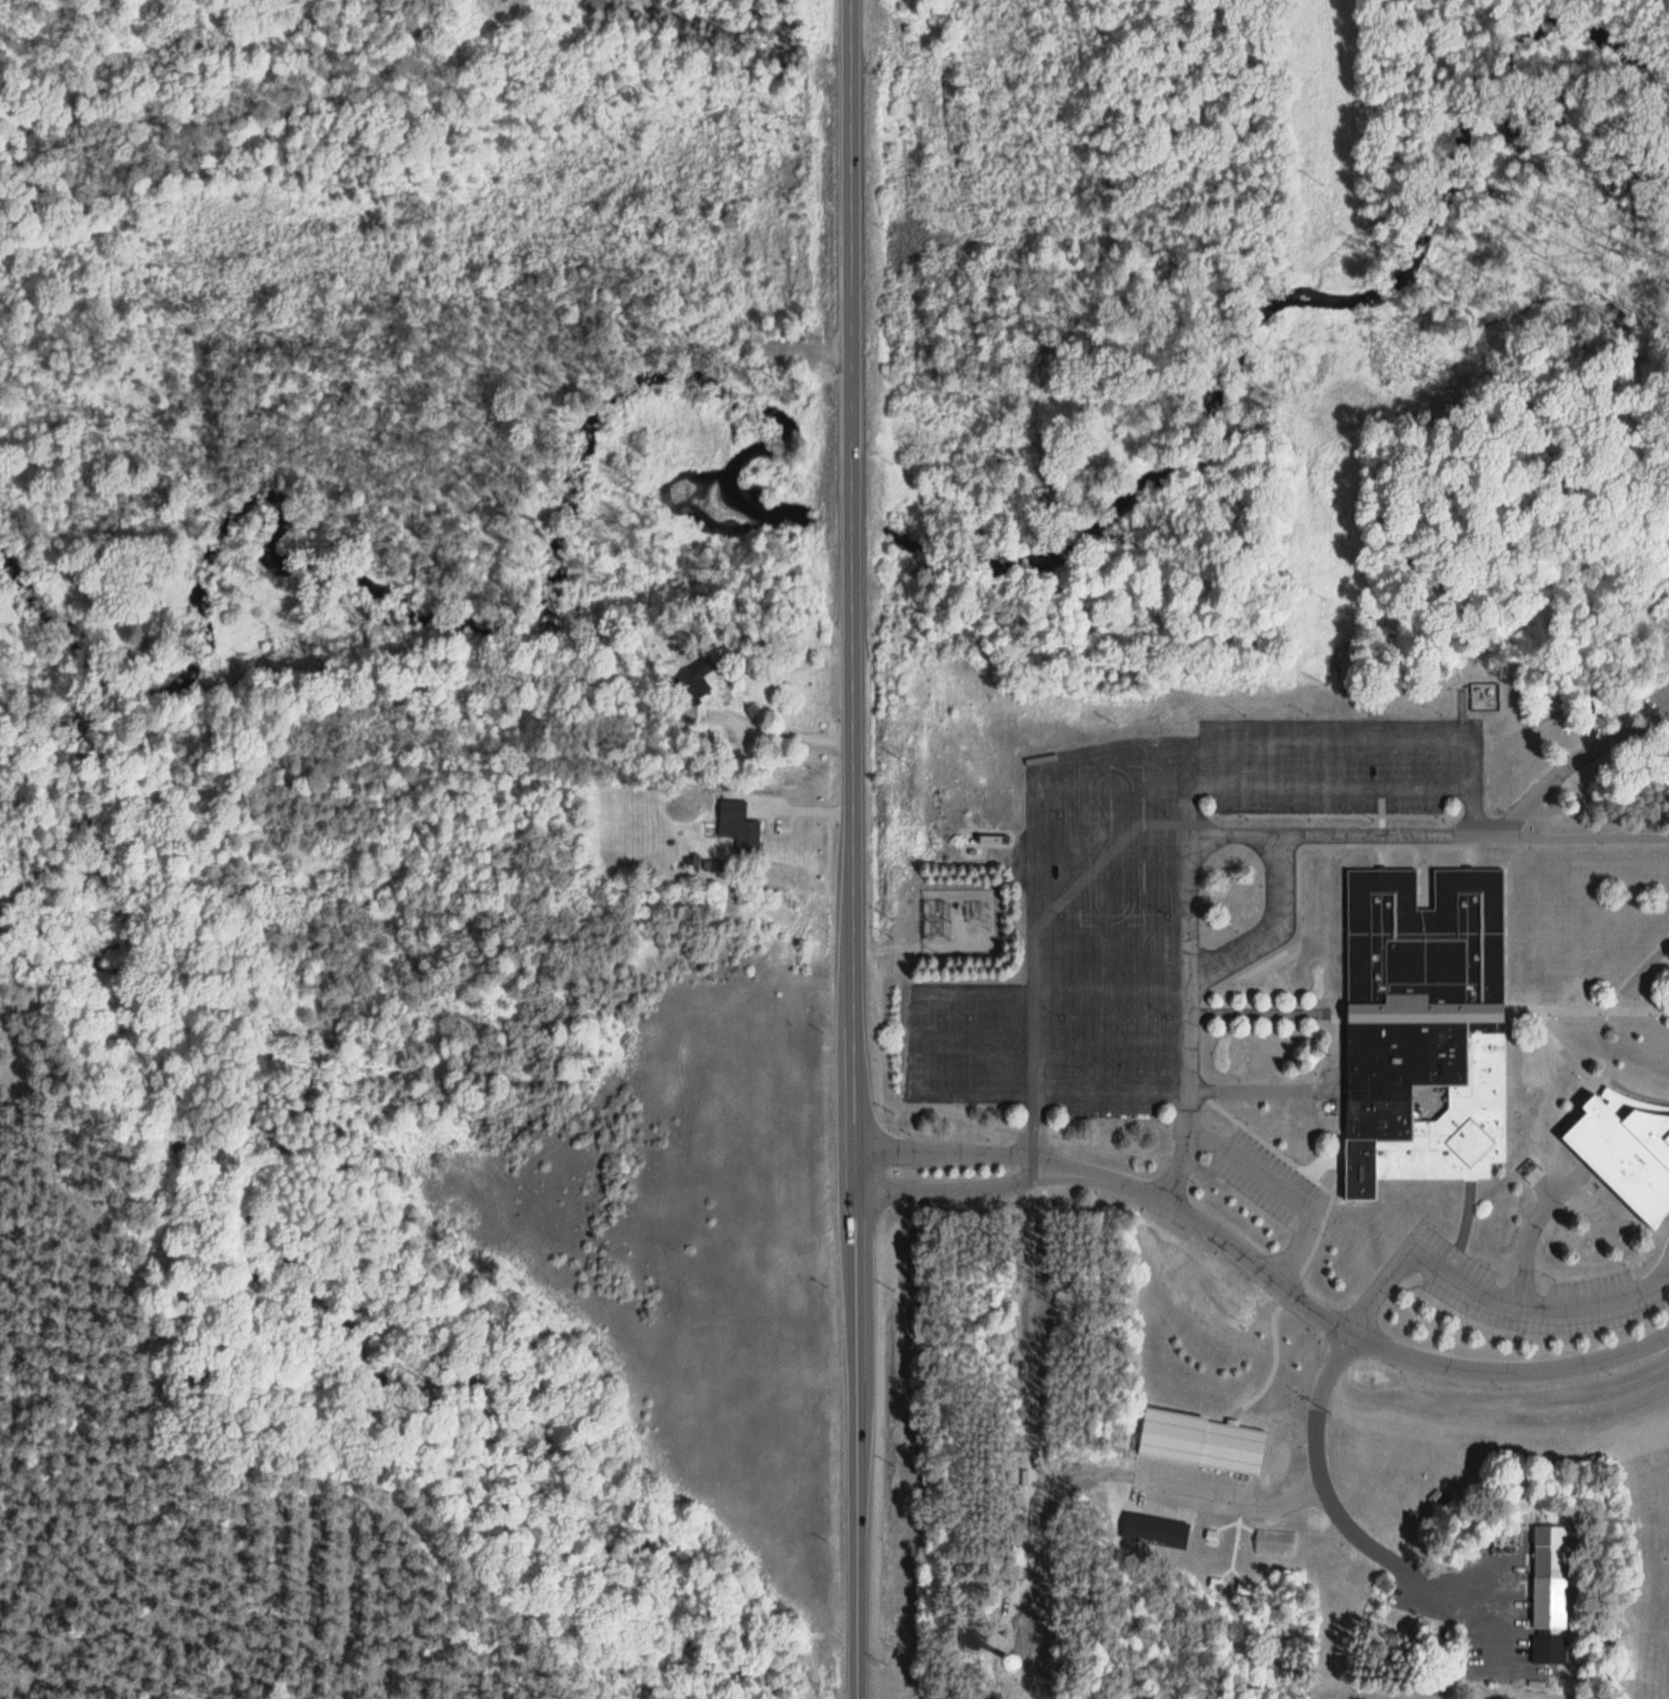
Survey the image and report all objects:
building: (693, 686)
road: (1327, 745)
road: (1467, 768)
road: (1250, 790)
building: (736, 827)
road: (1257, 836)
road: (853, 849)
road: (1034, 886)
road: (1110, 891)
parking lot: (1145, 898)
power substation: (960, 923)
road: (1270, 932)
building: (1423, 942)
road: (1110, 944)
road: (889, 951)
road: (1187, 974)
road: (1048, 1045)
building: (1402, 1062)
road: (919, 1096)
building: (1453, 1125)
road: (963, 1153)
building: (1626, 1158)
parking lot: (1261, 1180)
road: (964, 1192)
road: (1277, 1196)
road: (1530, 1228)
road: (1667, 1273)
parking lot: (1514, 1289)
road: (1490, 1299)
road: (1352, 1336)
building: (1201, 1440)
parking lot: (1191, 1493)
road: (1237, 1504)
road: (1373, 1551)
building: (1548, 1578)

